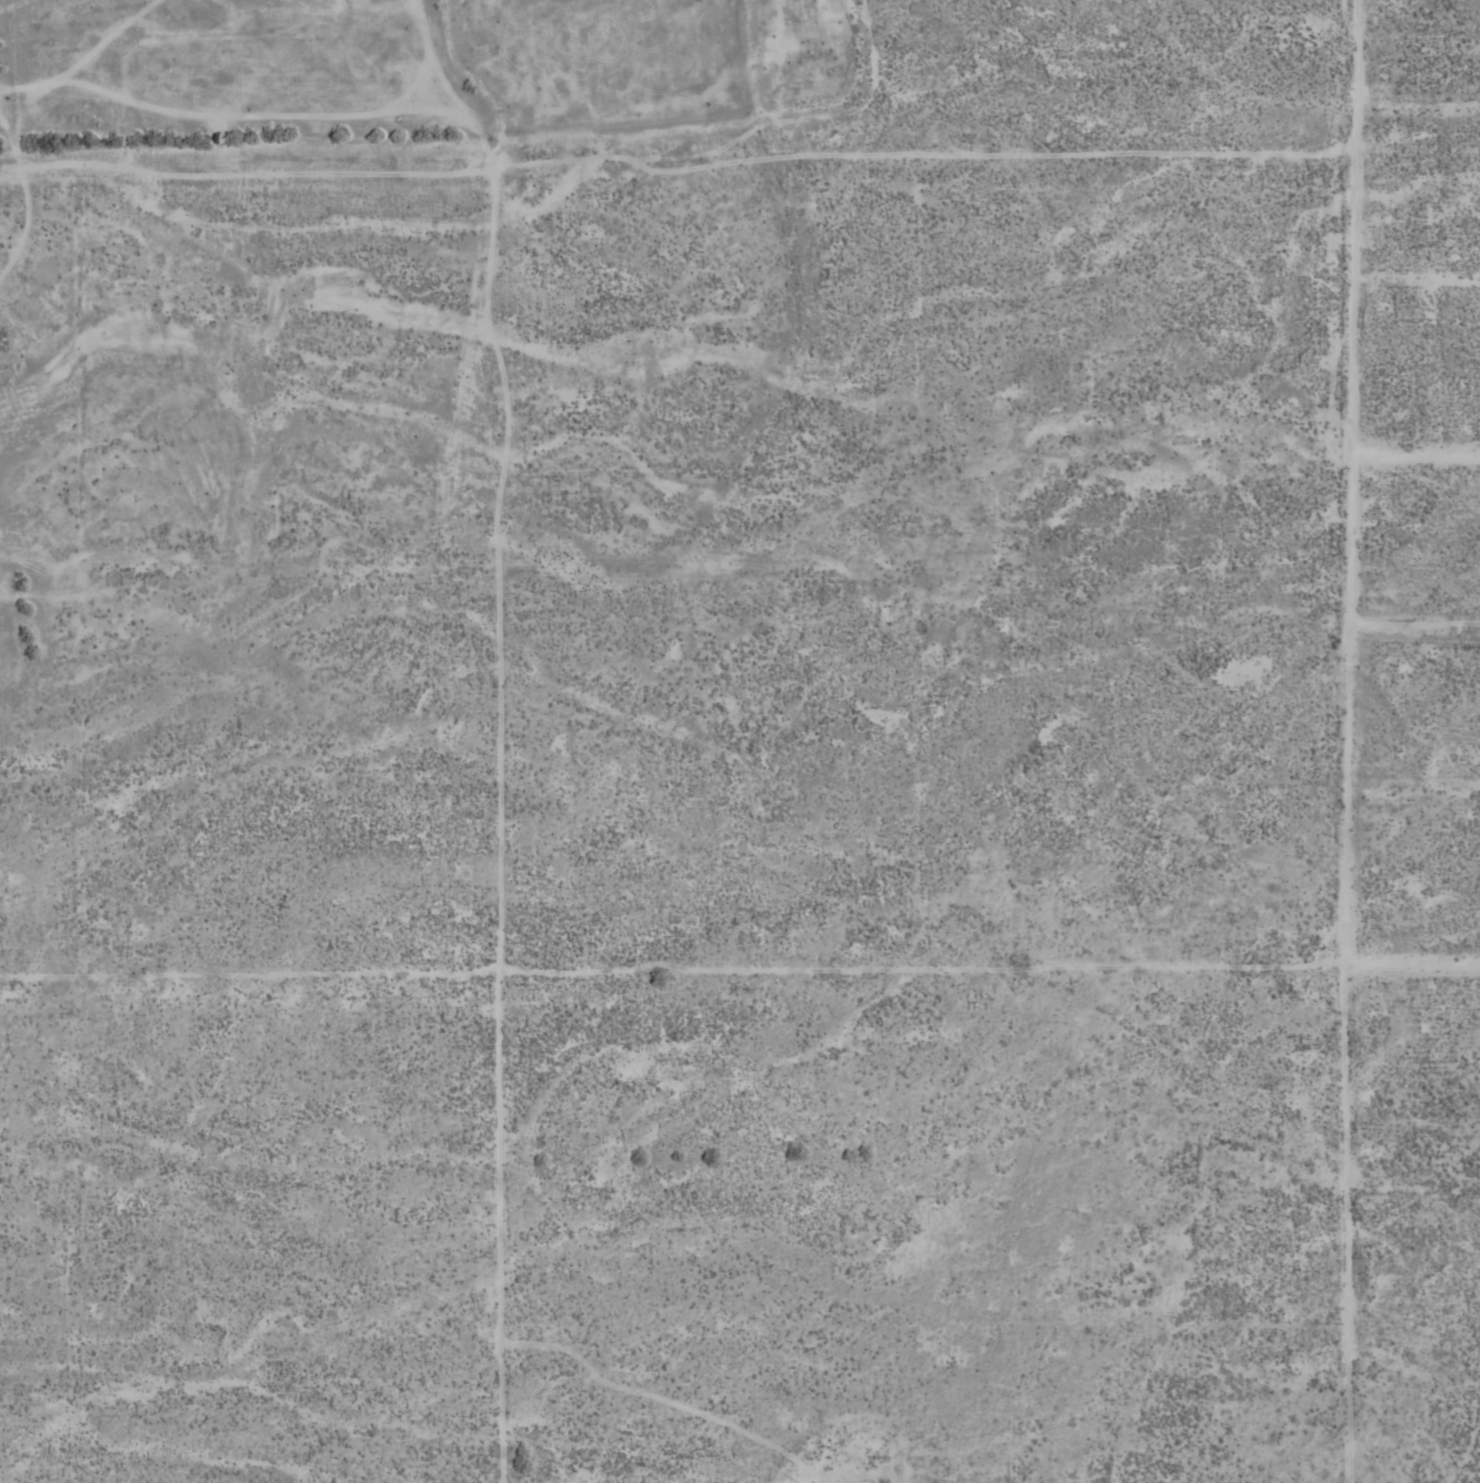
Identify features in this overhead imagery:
road: (493, 826)
railway: (368, 891)
railway: (362, 901)
road: (740, 978)

